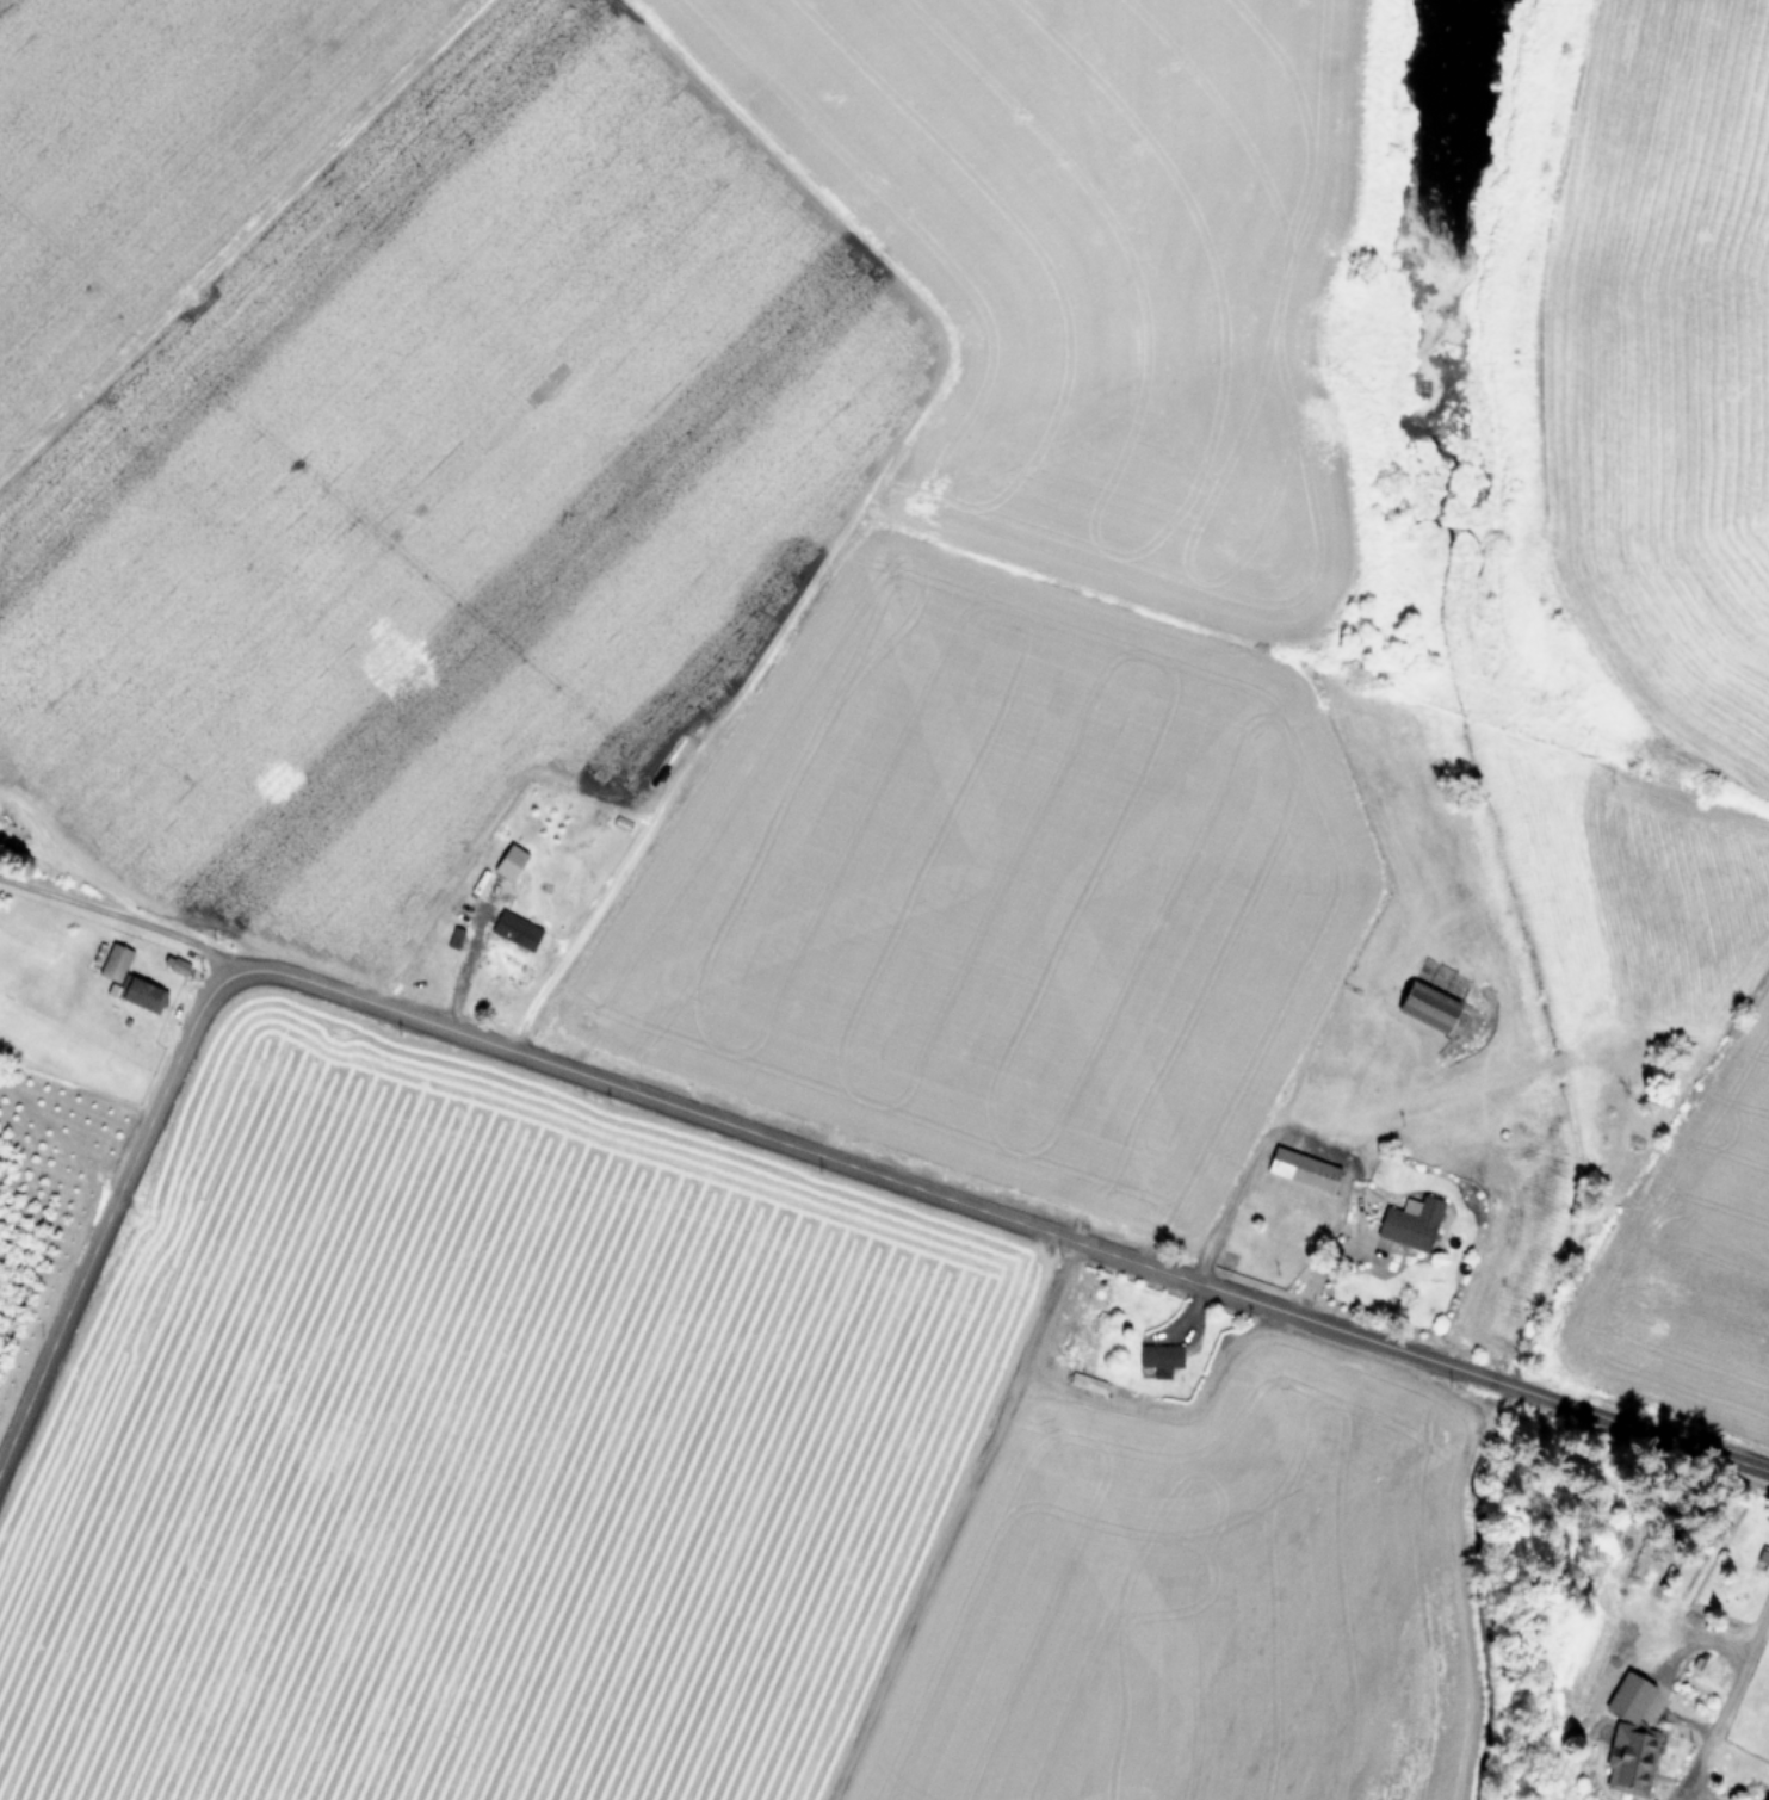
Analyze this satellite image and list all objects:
crop: (960, 589)
road: (119, 916)
building: (514, 930)
building: (453, 938)
building: (113, 963)
building: (141, 995)
building: (1424, 1007)
road: (1313, 1144)
building: (1301, 1170)
road: (107, 1214)
road: (998, 1216)
building: (1409, 1224)
building: (1157, 1361)
crop: (788, 1499)
building: (1762, 1559)
building: (1649, 1640)
road: (1724, 1687)
building: (1628, 1739)

